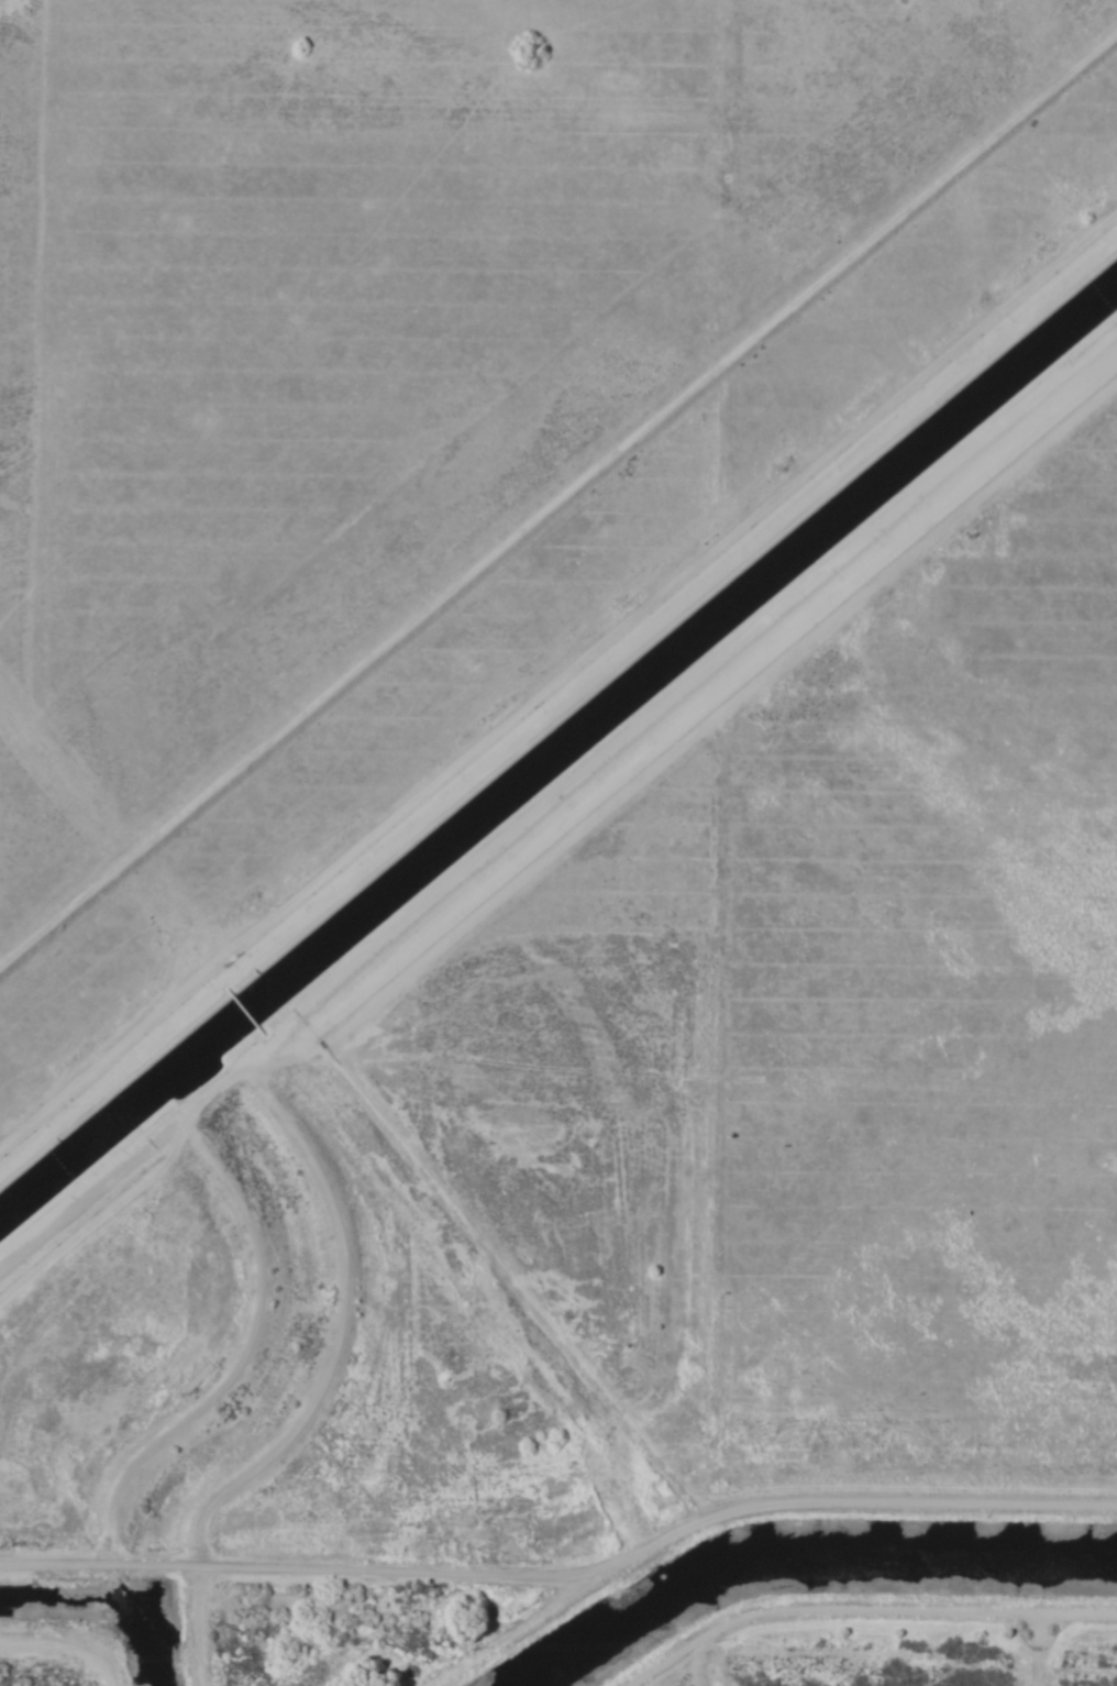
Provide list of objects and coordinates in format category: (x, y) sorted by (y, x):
crop: (429, 394)

